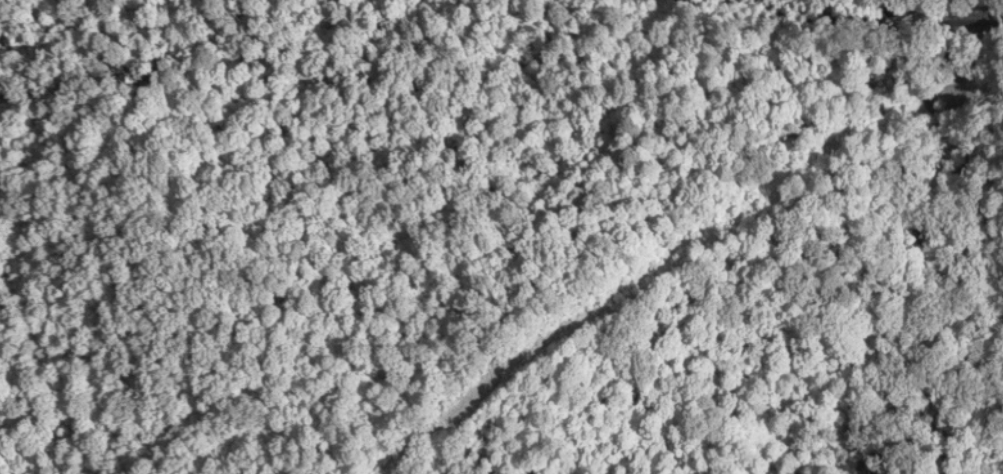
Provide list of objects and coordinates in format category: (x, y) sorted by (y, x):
road: (956, 7)
road: (956, 7)
road: (488, 76)

